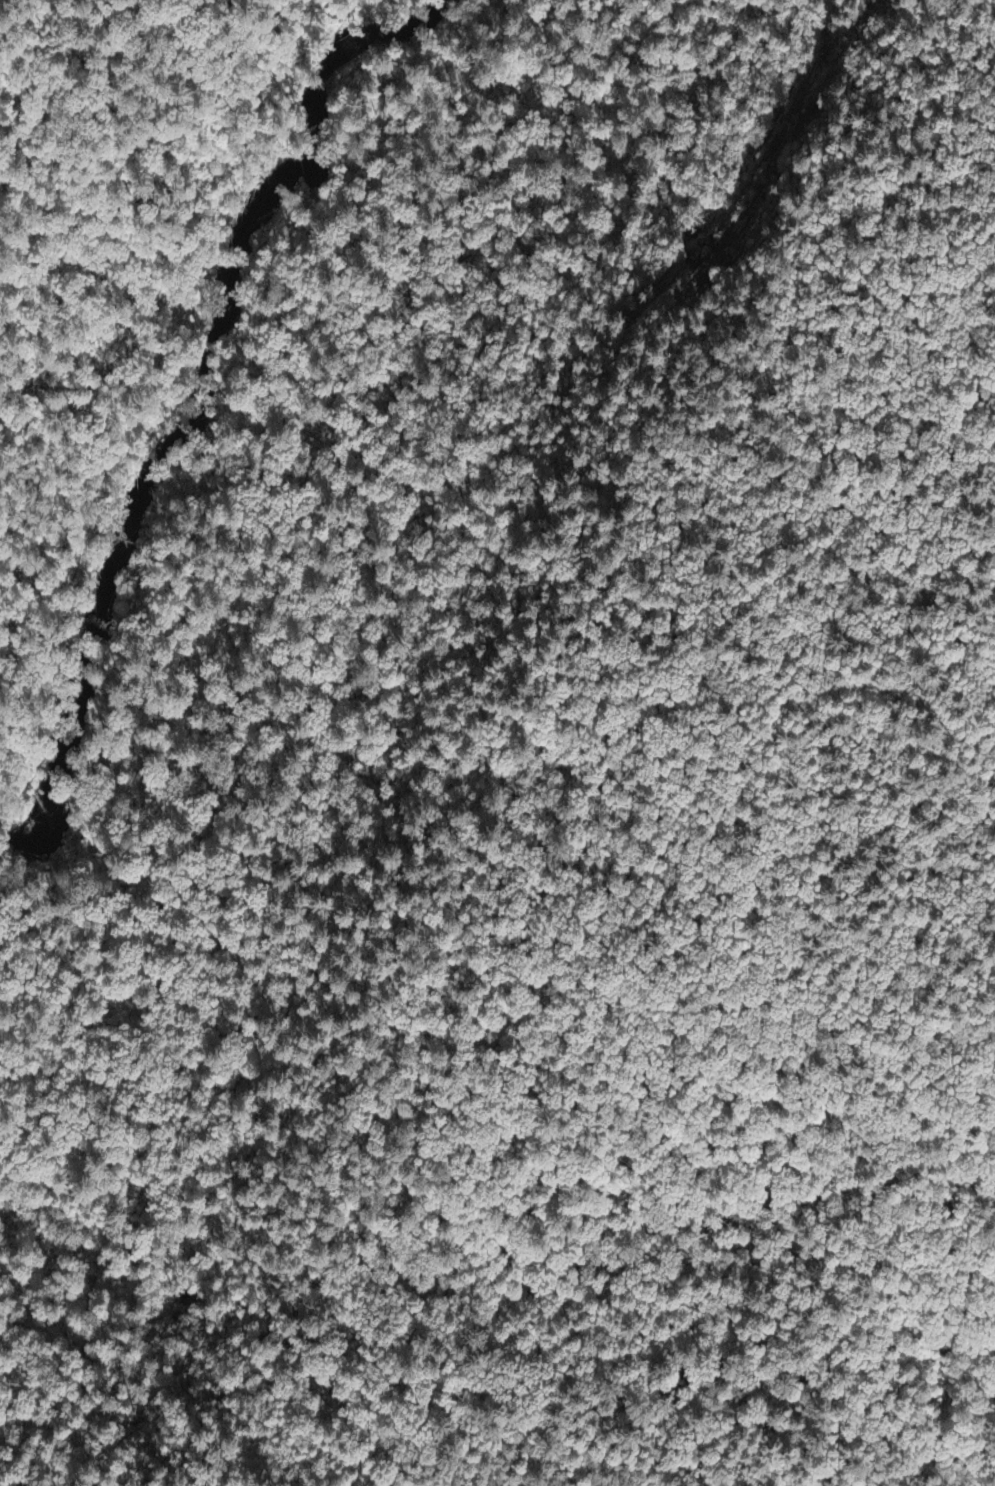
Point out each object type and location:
river: (187, 400)

